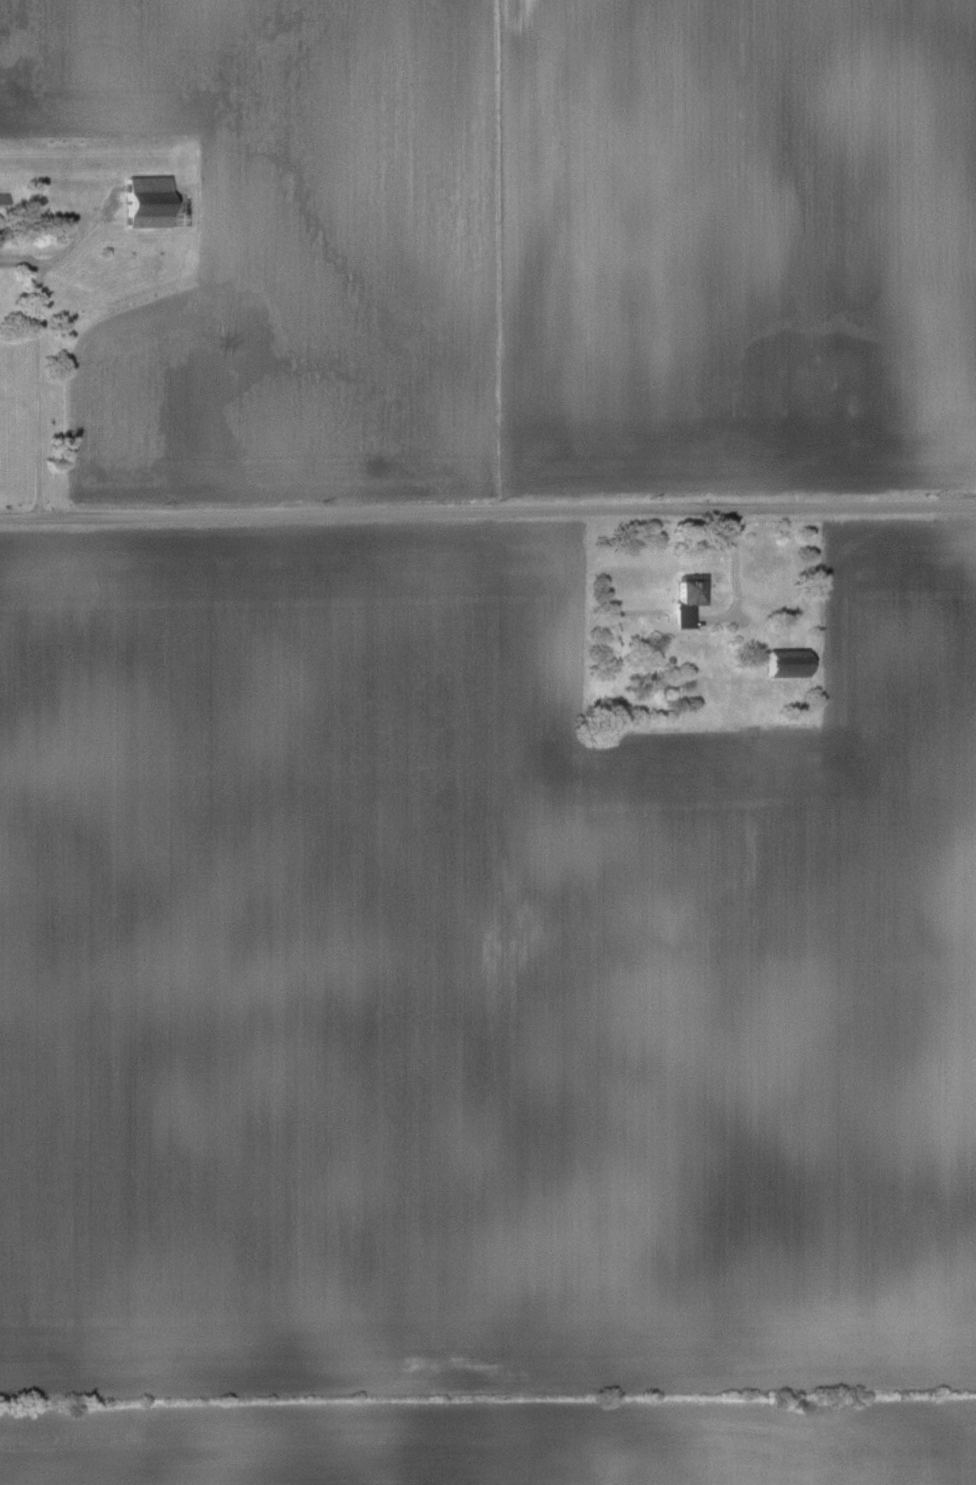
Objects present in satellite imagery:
building: (151, 202)
road: (36, 392)
road: (487, 510)
building: (690, 602)
building: (789, 662)

